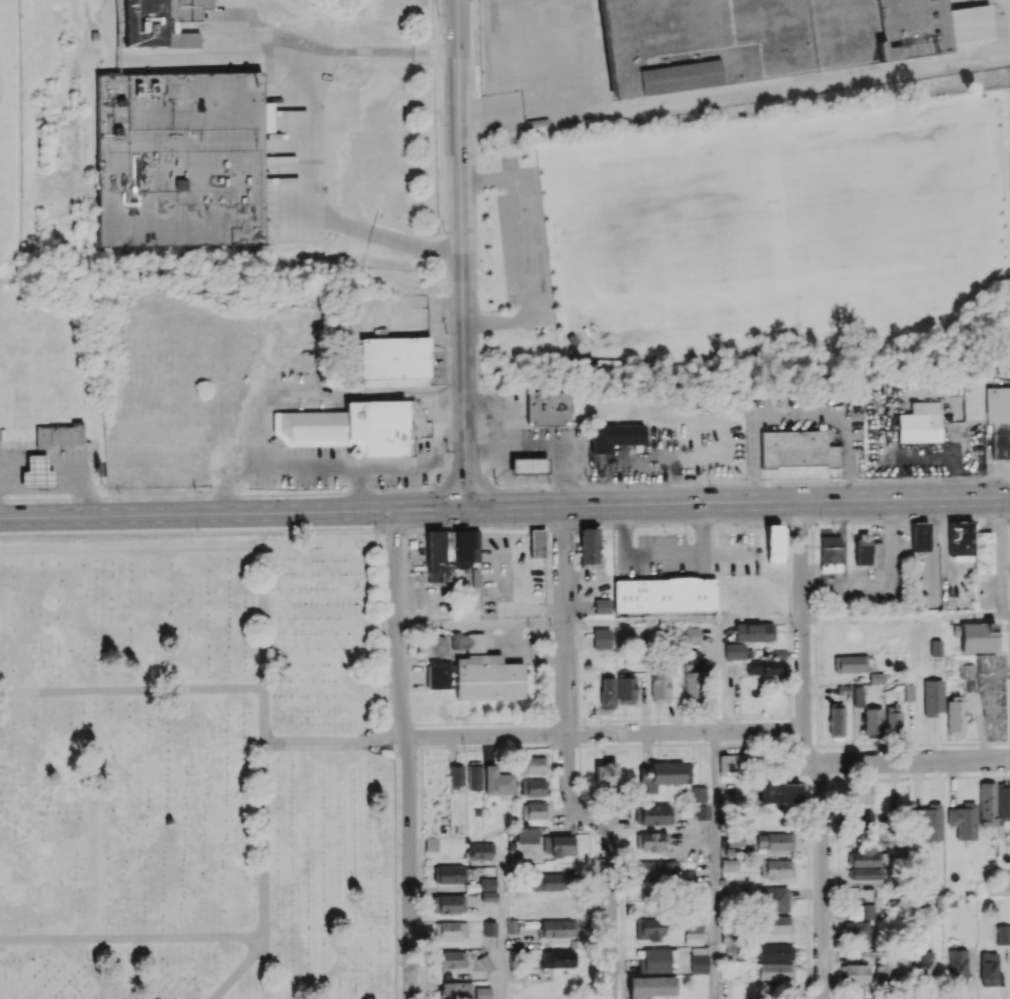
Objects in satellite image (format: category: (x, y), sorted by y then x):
building: (161, 22)
building: (772, 37)
road: (274, 42)
road: (316, 146)
building: (181, 158)
road: (487, 180)
park: (913, 206)
park: (794, 219)
park: (744, 232)
park: (668, 234)
parking lot: (524, 243)
road: (522, 248)
road: (462, 254)
road: (497, 322)
building: (394, 357)
road: (321, 390)
building: (547, 407)
road: (494, 412)
building: (989, 412)
road: (801, 414)
building: (919, 422)
building: (348, 428)
building: (59, 435)
building: (614, 436)
road: (542, 449)
building: (797, 449)
building: (528, 465)
road: (335, 470)
building: (36, 472)
road: (358, 490)
traffic signals: (466, 508)
road: (504, 508)
building: (919, 536)
building: (960, 538)
building: (537, 543)
building: (774, 543)
road: (200, 545)
building: (588, 547)
building: (862, 548)
building: (466, 551)
road: (726, 551)
road: (663, 552)
building: (983, 552)
building: (830, 553)
building: (437, 559)
road: (885, 584)
building: (666, 595)
building: (949, 602)
building: (602, 605)
road: (906, 618)
road: (762, 621)
road: (643, 623)
road: (480, 625)
road: (802, 630)
building: (754, 632)
building: (691, 635)
building: (975, 636)
building: (601, 638)
building: (467, 641)
building: (431, 646)
building: (935, 648)
building: (734, 651)
building: (849, 663)
building: (762, 667)
building: (966, 672)
road: (723, 676)
building: (477, 677)
building: (876, 677)
building: (691, 681)
building: (659, 684)
building: (625, 688)
road: (131, 689)
building: (607, 693)
building: (858, 696)
building: (932, 697)
building: (955, 715)
building: (893, 718)
building: (836, 721)
building: (872, 721)
road: (602, 732)
road: (334, 743)
road: (408, 753)
road: (916, 761)
road: (567, 762)
road: (812, 762)
building: (533, 764)
building: (730, 765)
park: (194, 769)
building: (474, 775)
building: (663, 775)
building: (456, 776)
building: (605, 776)
building: (498, 781)
building: (533, 787)
building: (778, 791)
building: (863, 793)
building: (697, 794)
building: (987, 804)
building: (533, 810)
building: (700, 812)
road: (94, 814)
building: (655, 814)
building: (860, 819)
building: (962, 820)
building: (929, 821)
building: (526, 835)
building: (735, 837)
building: (649, 841)
building: (774, 841)
building: (431, 843)
building: (559, 845)
building: (481, 850)
road: (265, 852)
building: (864, 855)
building: (728, 864)
road: (715, 865)
building: (776, 868)
building: (655, 869)
building: (867, 873)
building: (449, 874)
building: (548, 881)
road: (822, 881)
building: (487, 889)
road: (916, 890)
building: (774, 899)
building: (448, 904)
road: (502, 919)
building: (777, 924)
building: (693, 925)
building: (513, 926)
building: (860, 926)
building: (489, 927)
building: (558, 928)
building: (648, 929)
building: (451, 930)
building: (1003, 934)
road: (132, 937)
building: (692, 938)
building: (727, 938)
building: (774, 952)
building: (558, 958)
building: (452, 959)
building: (653, 959)
building: (485, 963)
building: (922, 964)
building: (956, 966)
road: (265, 968)
building: (885, 969)
building: (988, 969)
building: (774, 971)
building: (853, 972)
building: (650, 986)
building: (450, 990)
building: (482, 992)

